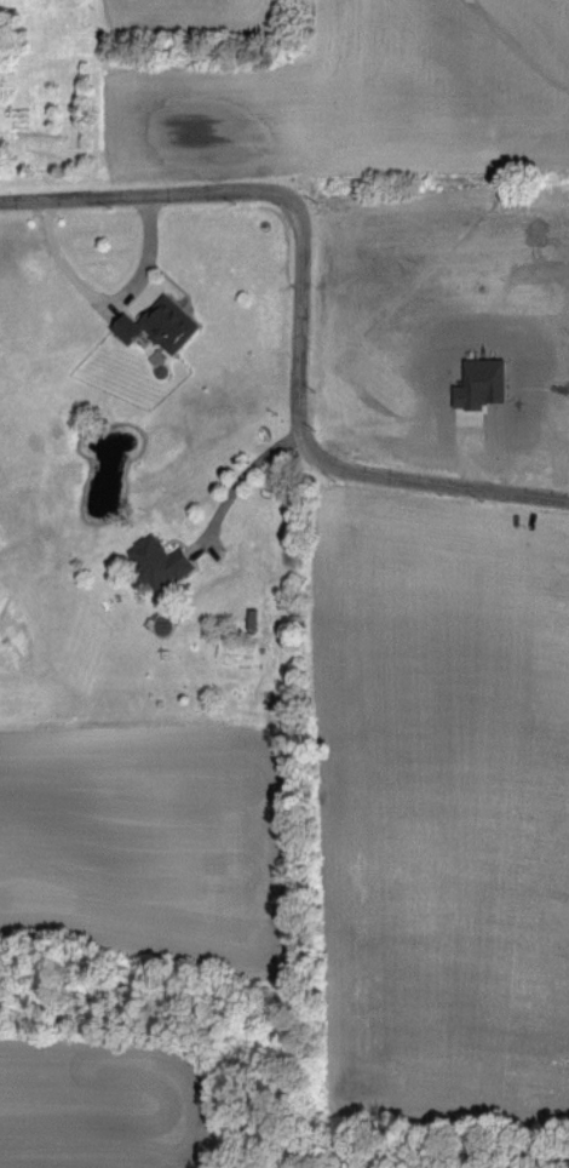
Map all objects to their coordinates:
road: (107, 296)
road: (300, 309)
building: (160, 324)
building: (482, 384)
road: (438, 416)
road: (475, 450)
road: (245, 473)
road: (199, 543)
building: (160, 559)

